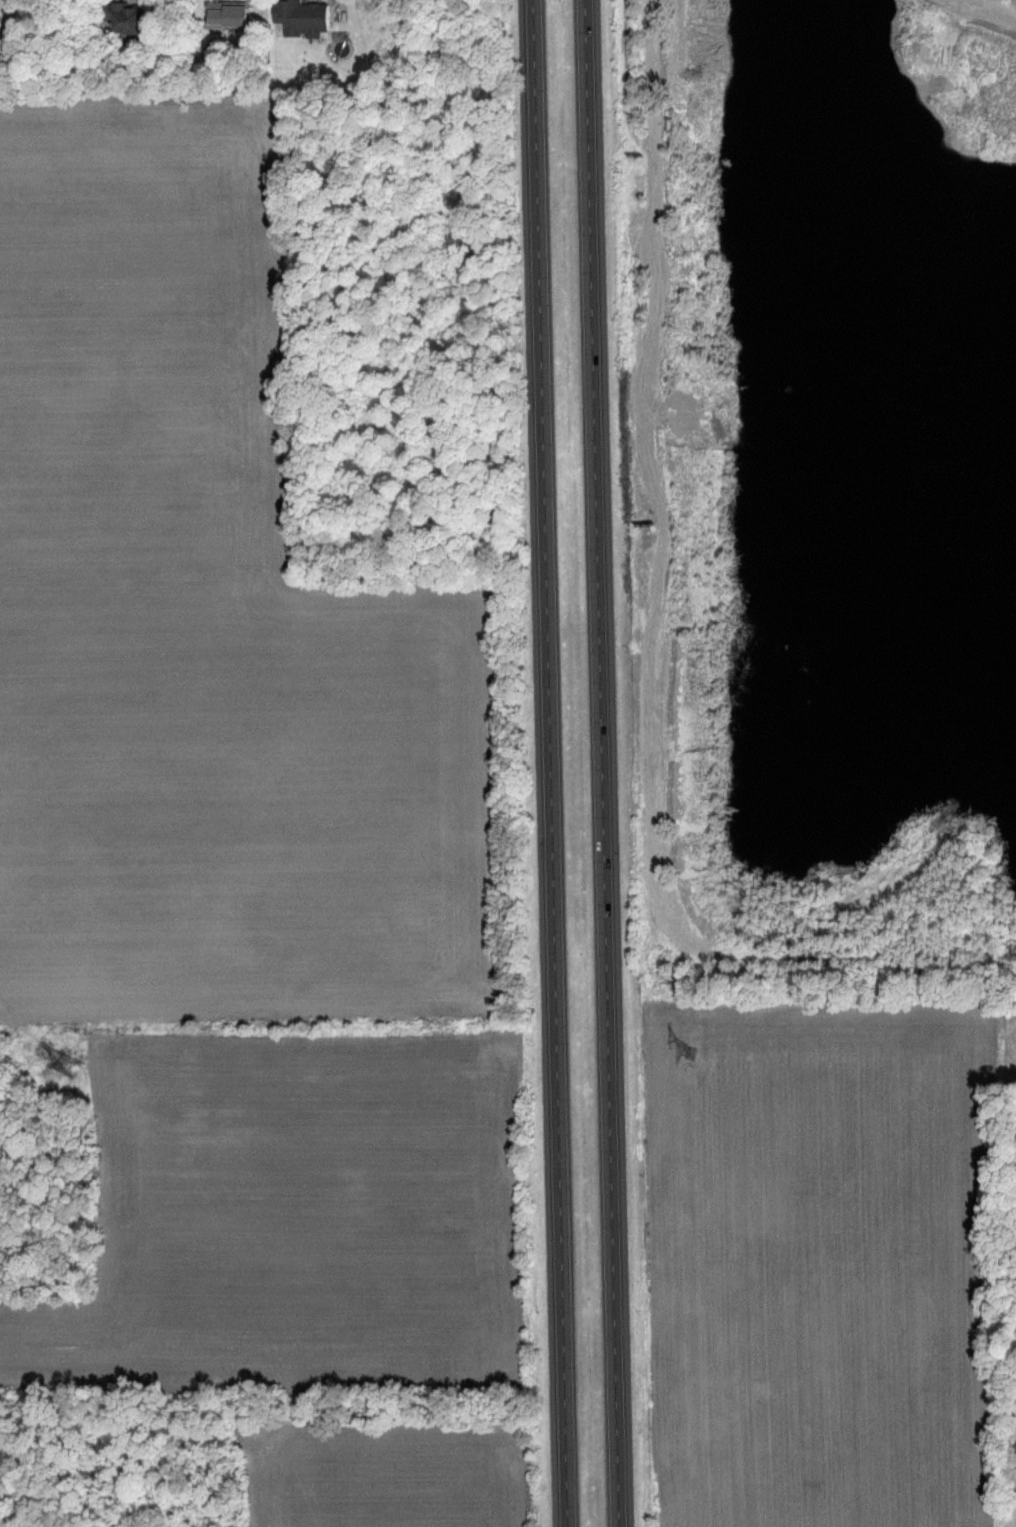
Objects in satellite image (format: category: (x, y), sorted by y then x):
building: (124, 15)
building: (231, 15)
building: (305, 17)
crop: (218, 623)
road: (549, 763)
road: (600, 763)

